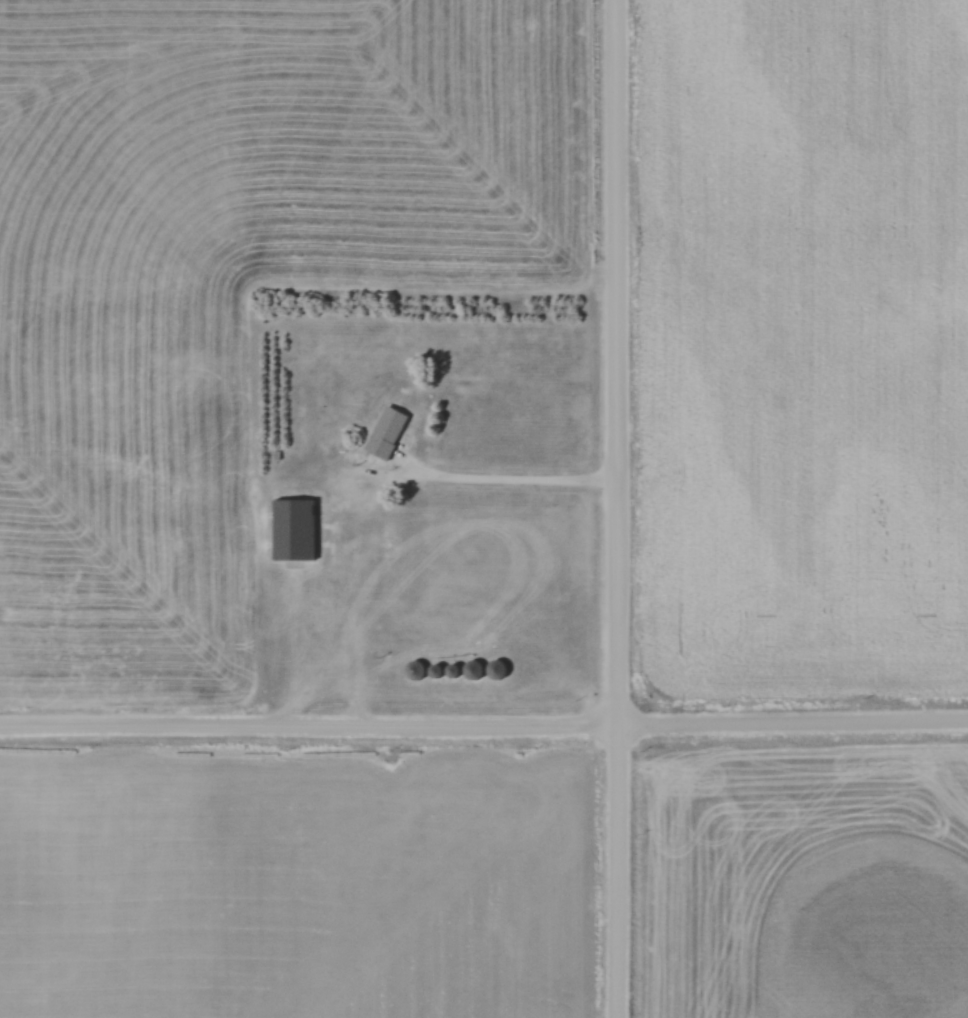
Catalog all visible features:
crop: (803, 344)
building: (386, 429)
road: (477, 480)
road: (619, 508)
building: (295, 528)
building: (415, 671)
road: (484, 726)

